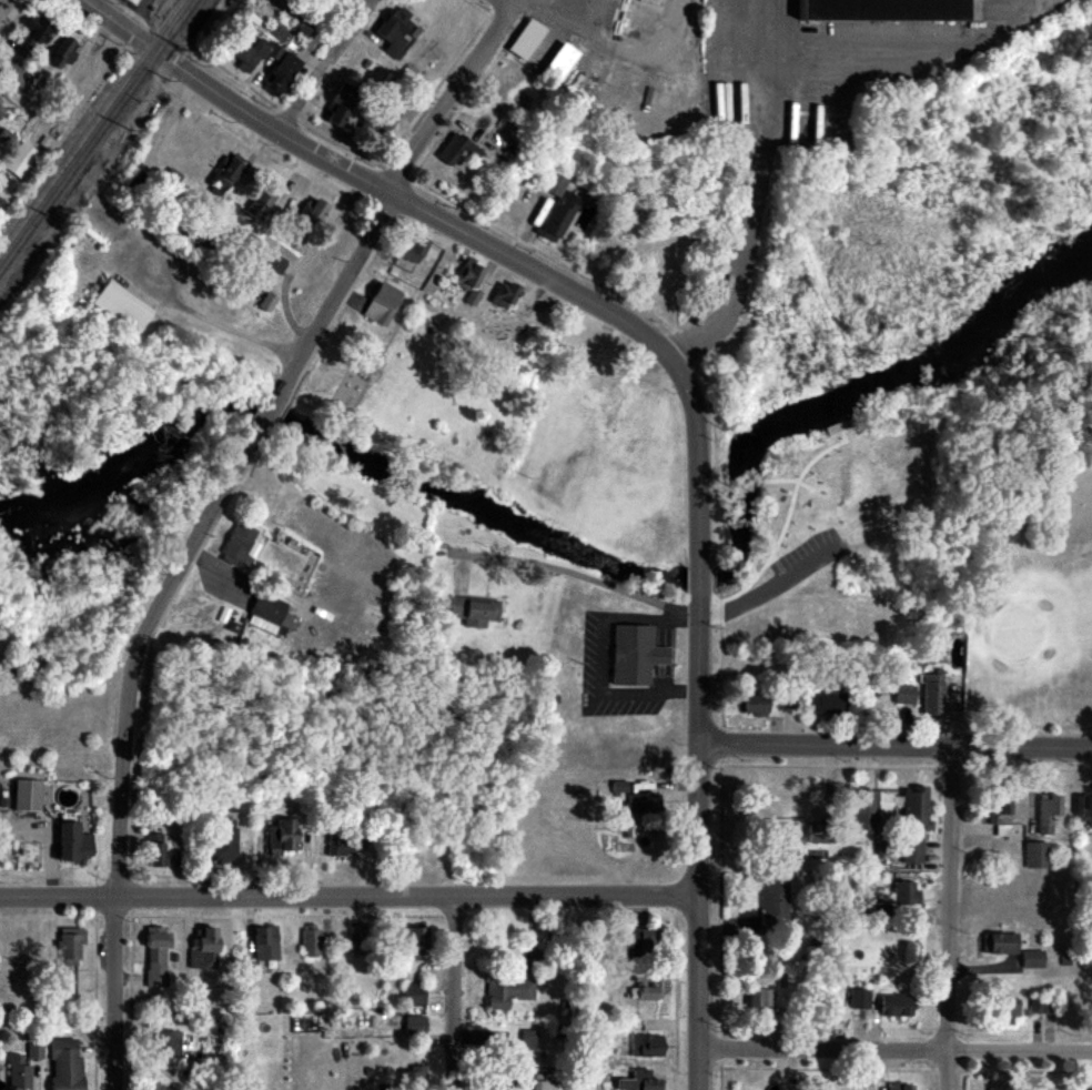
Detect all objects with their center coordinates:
building: (633, 0)
building: (524, 1)
road: (501, 3)
road: (3, 4)
building: (138, 7)
building: (870, 17)
building: (394, 31)
building: (32, 34)
road: (601, 37)
building: (525, 40)
building: (61, 53)
building: (249, 55)
road: (325, 64)
building: (558, 64)
building: (10, 74)
building: (282, 75)
road: (757, 80)
road: (451, 101)
building: (340, 107)
building: (1, 109)
railway: (90, 127)
railway: (98, 137)
road: (342, 149)
building: (457, 151)
building: (19, 160)
building: (224, 176)
road: (378, 185)
building: (259, 204)
building: (556, 210)
building: (311, 212)
building: (410, 253)
road: (304, 259)
building: (471, 282)
road: (335, 293)
building: (505, 296)
building: (382, 305)
building: (120, 309)
road: (202, 319)
road: (265, 418)
road: (698, 463)
building: (237, 544)
road: (816, 554)
road: (575, 576)
road: (699, 581)
park: (1032, 586)
road: (607, 656)
building: (826, 703)
building: (754, 706)
road: (894, 749)
road: (127, 750)
building: (27, 795)
building: (862, 810)
building: (1001, 815)
building: (1048, 815)
building: (1090, 816)
building: (914, 824)
building: (827, 834)
building: (282, 837)
building: (75, 842)
road: (697, 842)
building: (224, 844)
building: (340, 844)
building: (156, 850)
building: (906, 894)
road: (348, 897)
building: (776, 906)
road: (949, 919)
building: (358, 940)
building: (643, 941)
building: (311, 942)
building: (418, 942)
building: (266, 943)
building: (997, 943)
building: (69, 947)
building: (205, 949)
building: (156, 958)
building: (1034, 959)
building: (645, 988)
building: (508, 992)
building: (415, 993)
road: (453, 993)
building: (761, 999)
building: (861, 1000)
building: (1045, 1005)
building: (898, 1006)
building: (1005, 1009)
building: (416, 1026)
building: (529, 1041)
building: (168, 1043)
building: (646, 1046)
road: (894, 1052)
building: (67, 1064)
building: (20, 1077)
building: (413, 1078)
building: (647, 1082)
building: (510, 1084)
building: (545, 1084)
building: (163, 1086)
building: (900, 1087)

